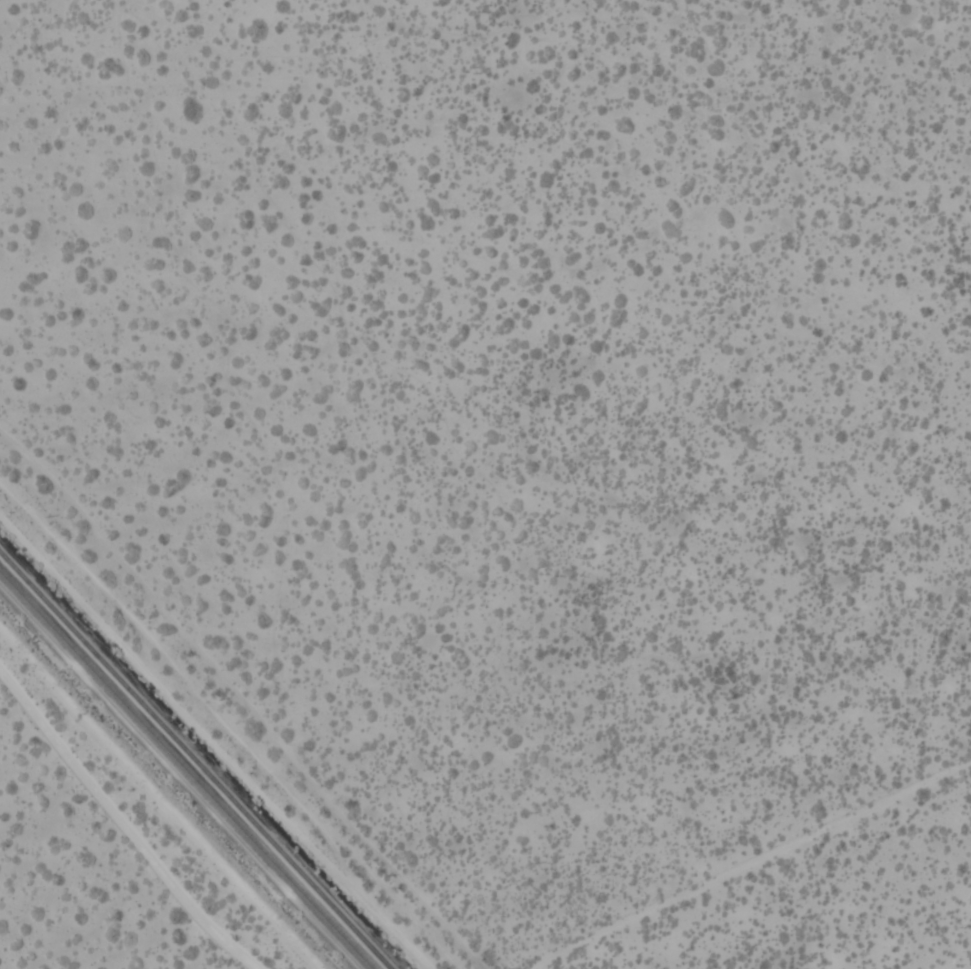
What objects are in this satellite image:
road: (236, 702)
road: (211, 746)
railway: (194, 762)
railway: (186, 770)
road: (135, 823)
road: (749, 862)

